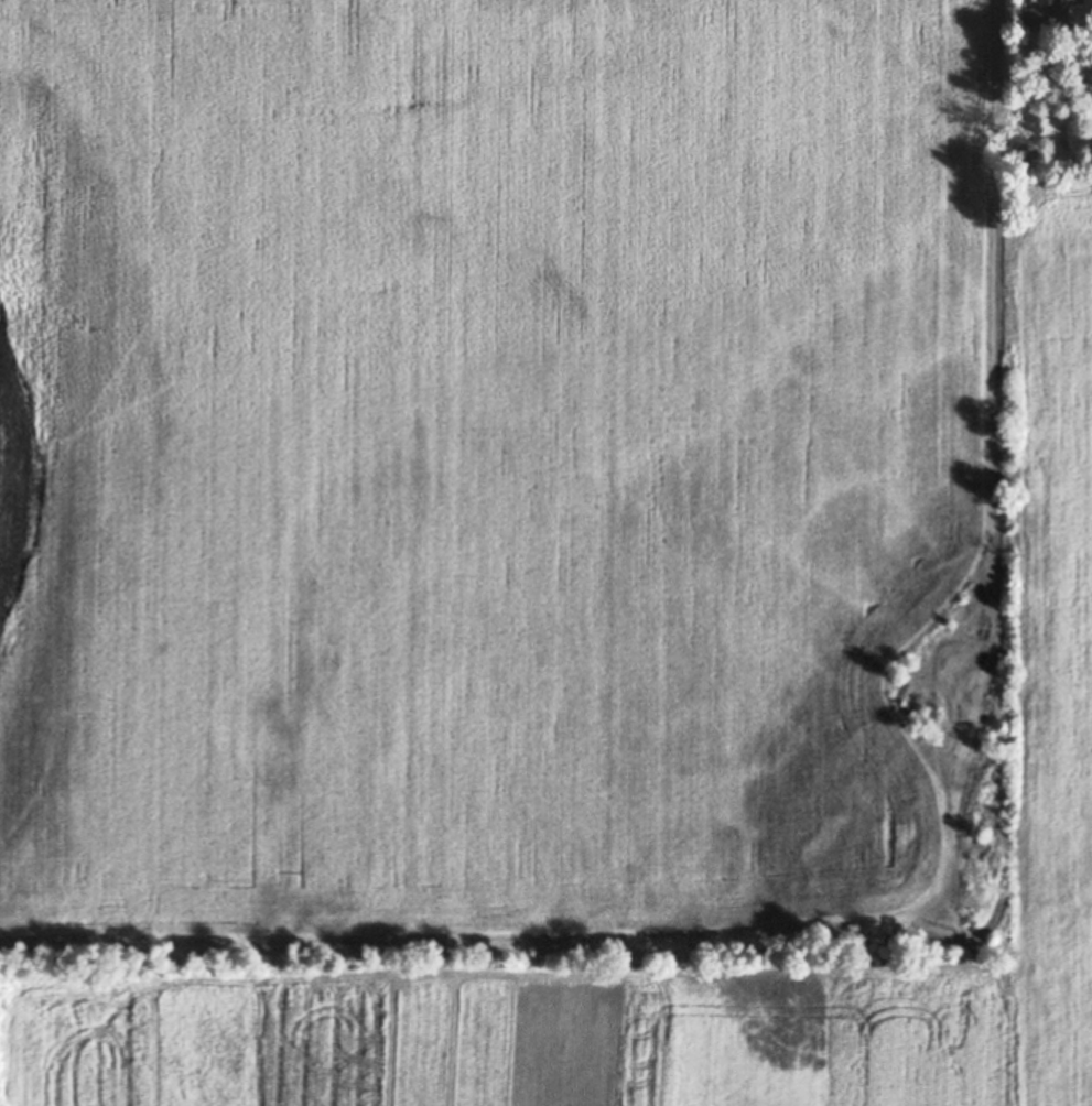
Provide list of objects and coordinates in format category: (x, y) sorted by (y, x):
building: (1067, 7)
building: (1034, 19)
building: (1025, 50)
building: (1024, 154)
building: (1050, 173)

